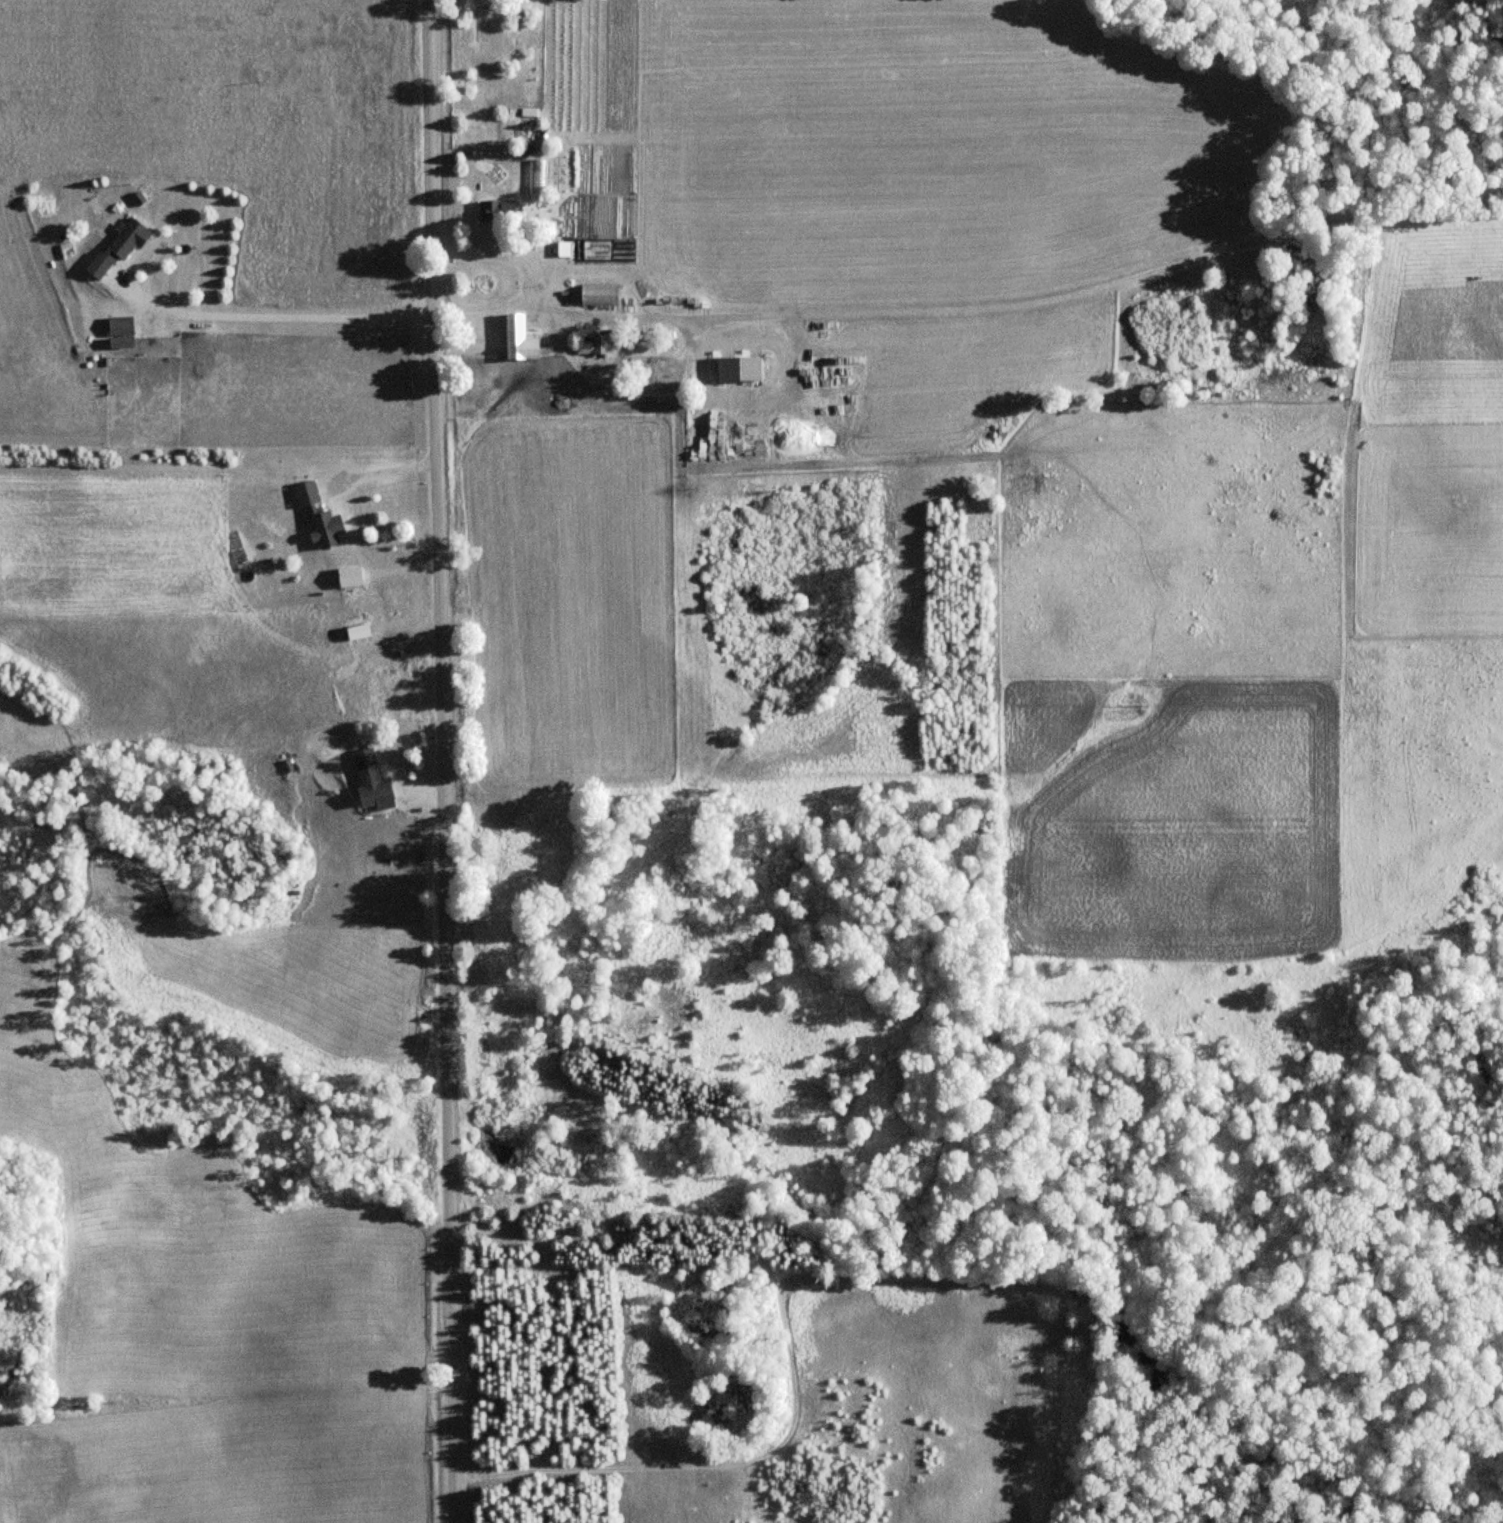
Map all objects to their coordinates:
building: (496, 211)
building: (116, 247)
building: (597, 295)
building: (119, 332)
building: (519, 341)
building: (583, 350)
building: (305, 492)
building: (324, 527)
building: (347, 577)
building: (355, 632)
road: (444, 761)
building: (368, 779)
road: (794, 1396)

